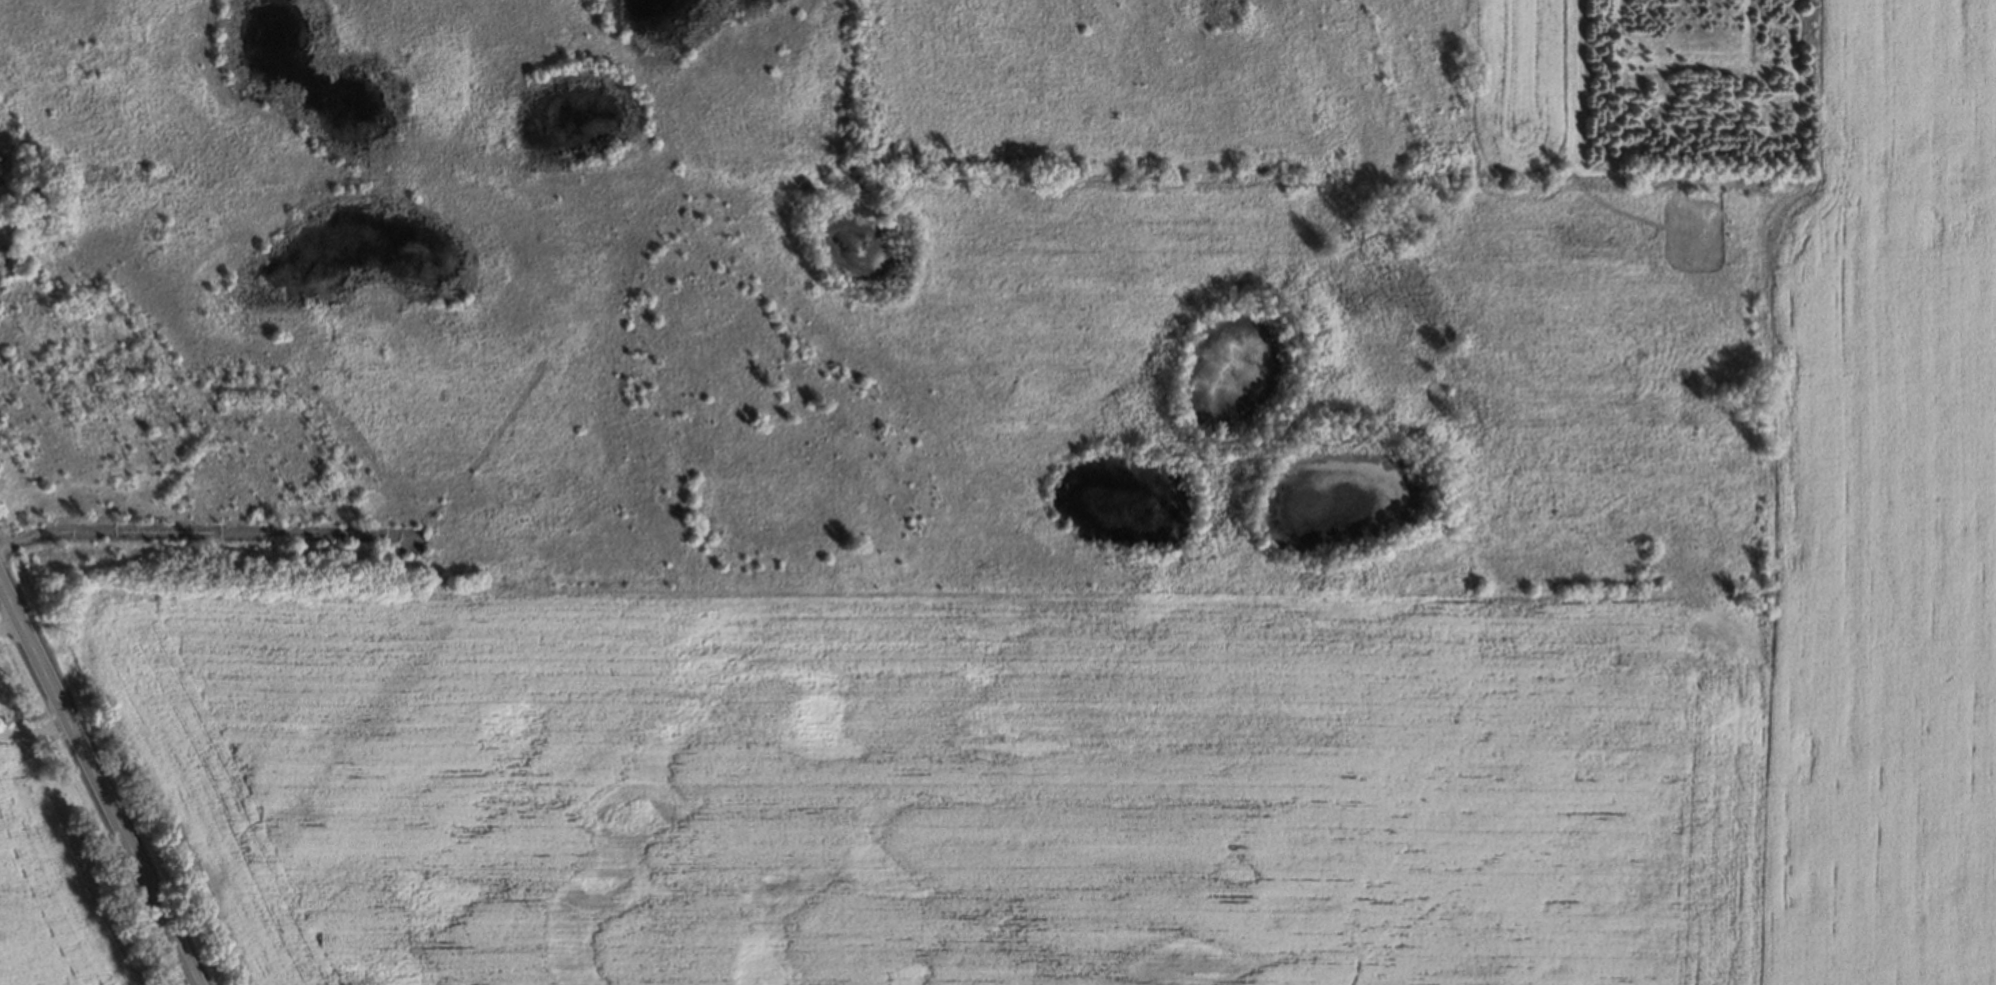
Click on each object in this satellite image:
road: (199, 531)
road: (11, 626)
road: (34, 729)
road: (100, 782)

